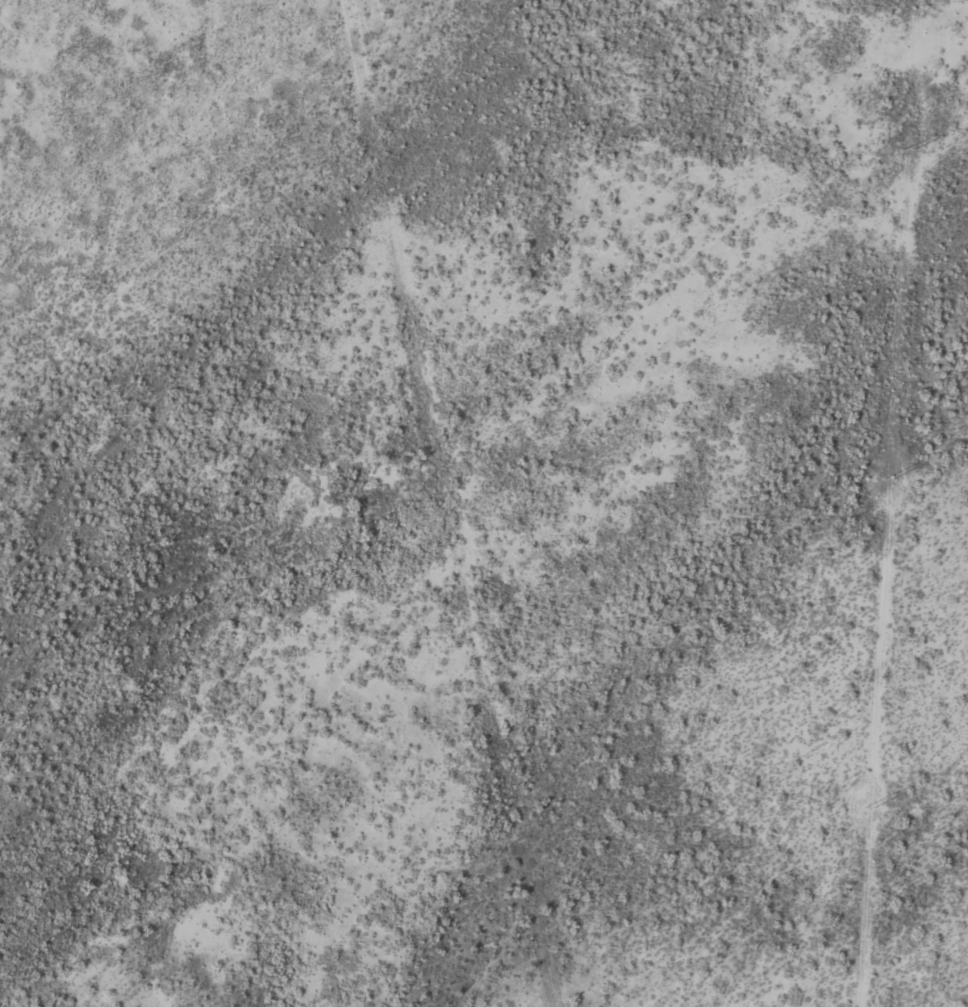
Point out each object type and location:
power tower: (909, 150)
power tower: (889, 479)
power tower: (869, 808)

